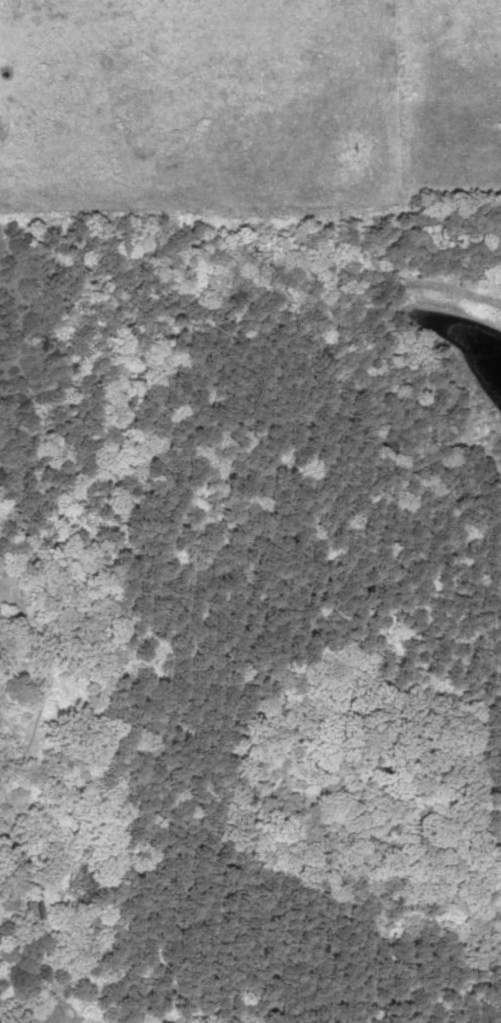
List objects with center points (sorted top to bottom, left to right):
building: (32, 908)

